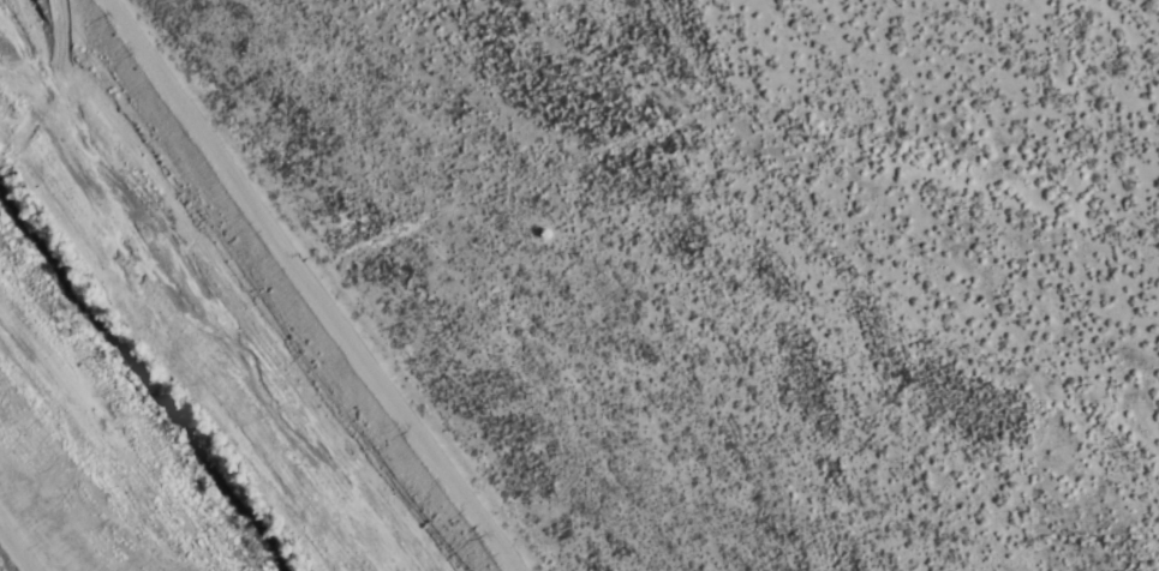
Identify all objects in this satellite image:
road: (216, 285)
crop: (5, 563)

